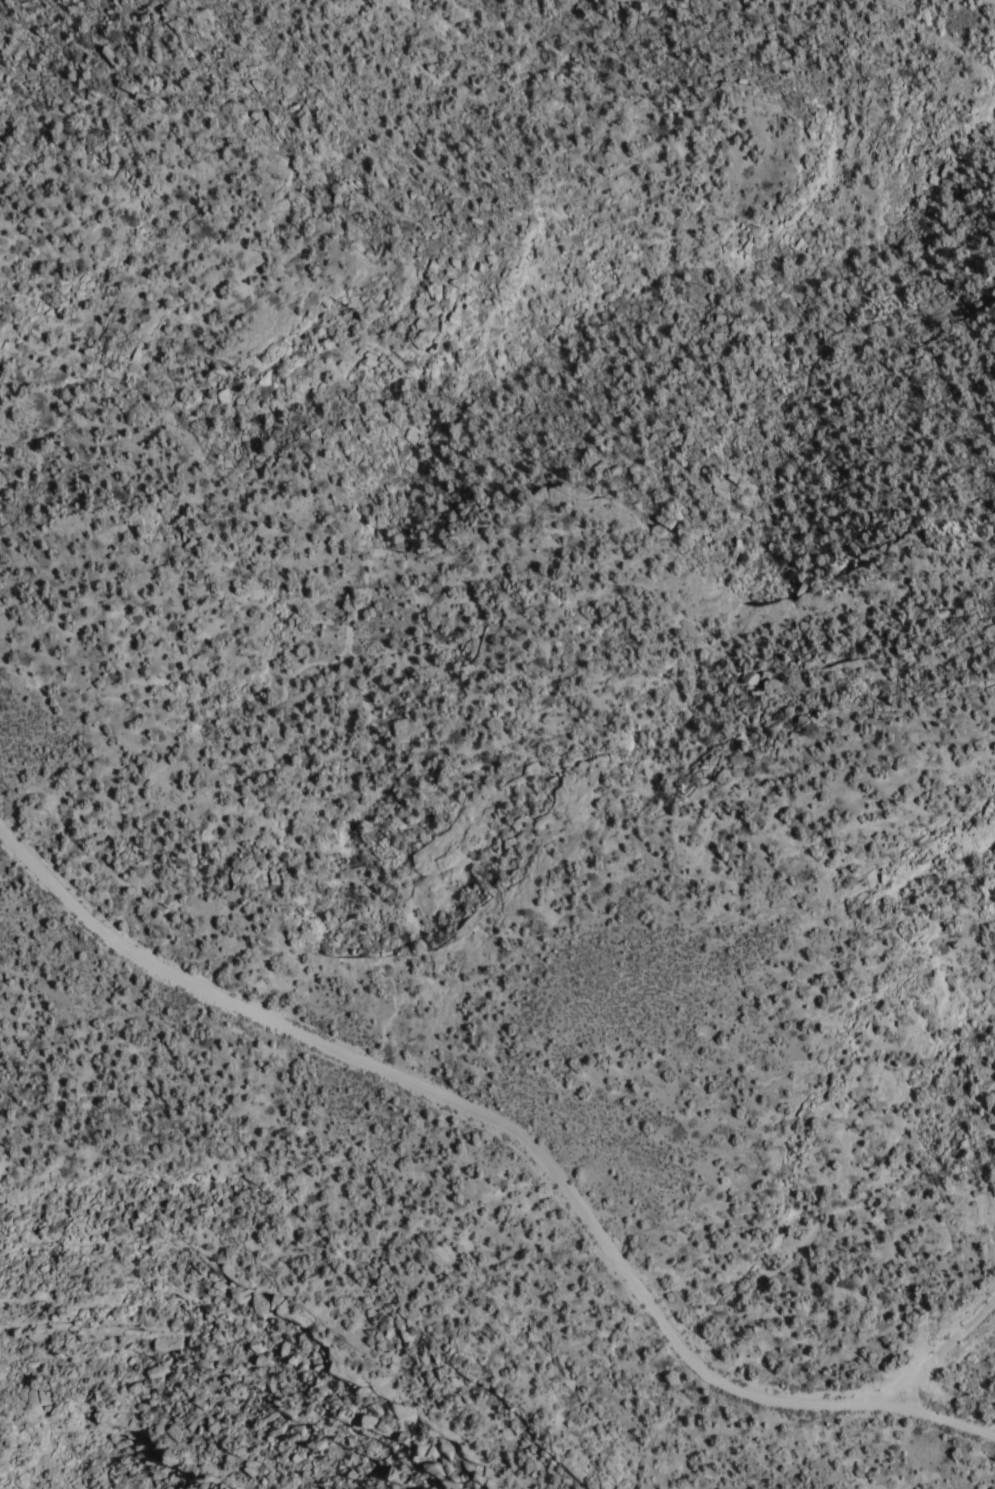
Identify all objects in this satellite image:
road: (489, 1147)

